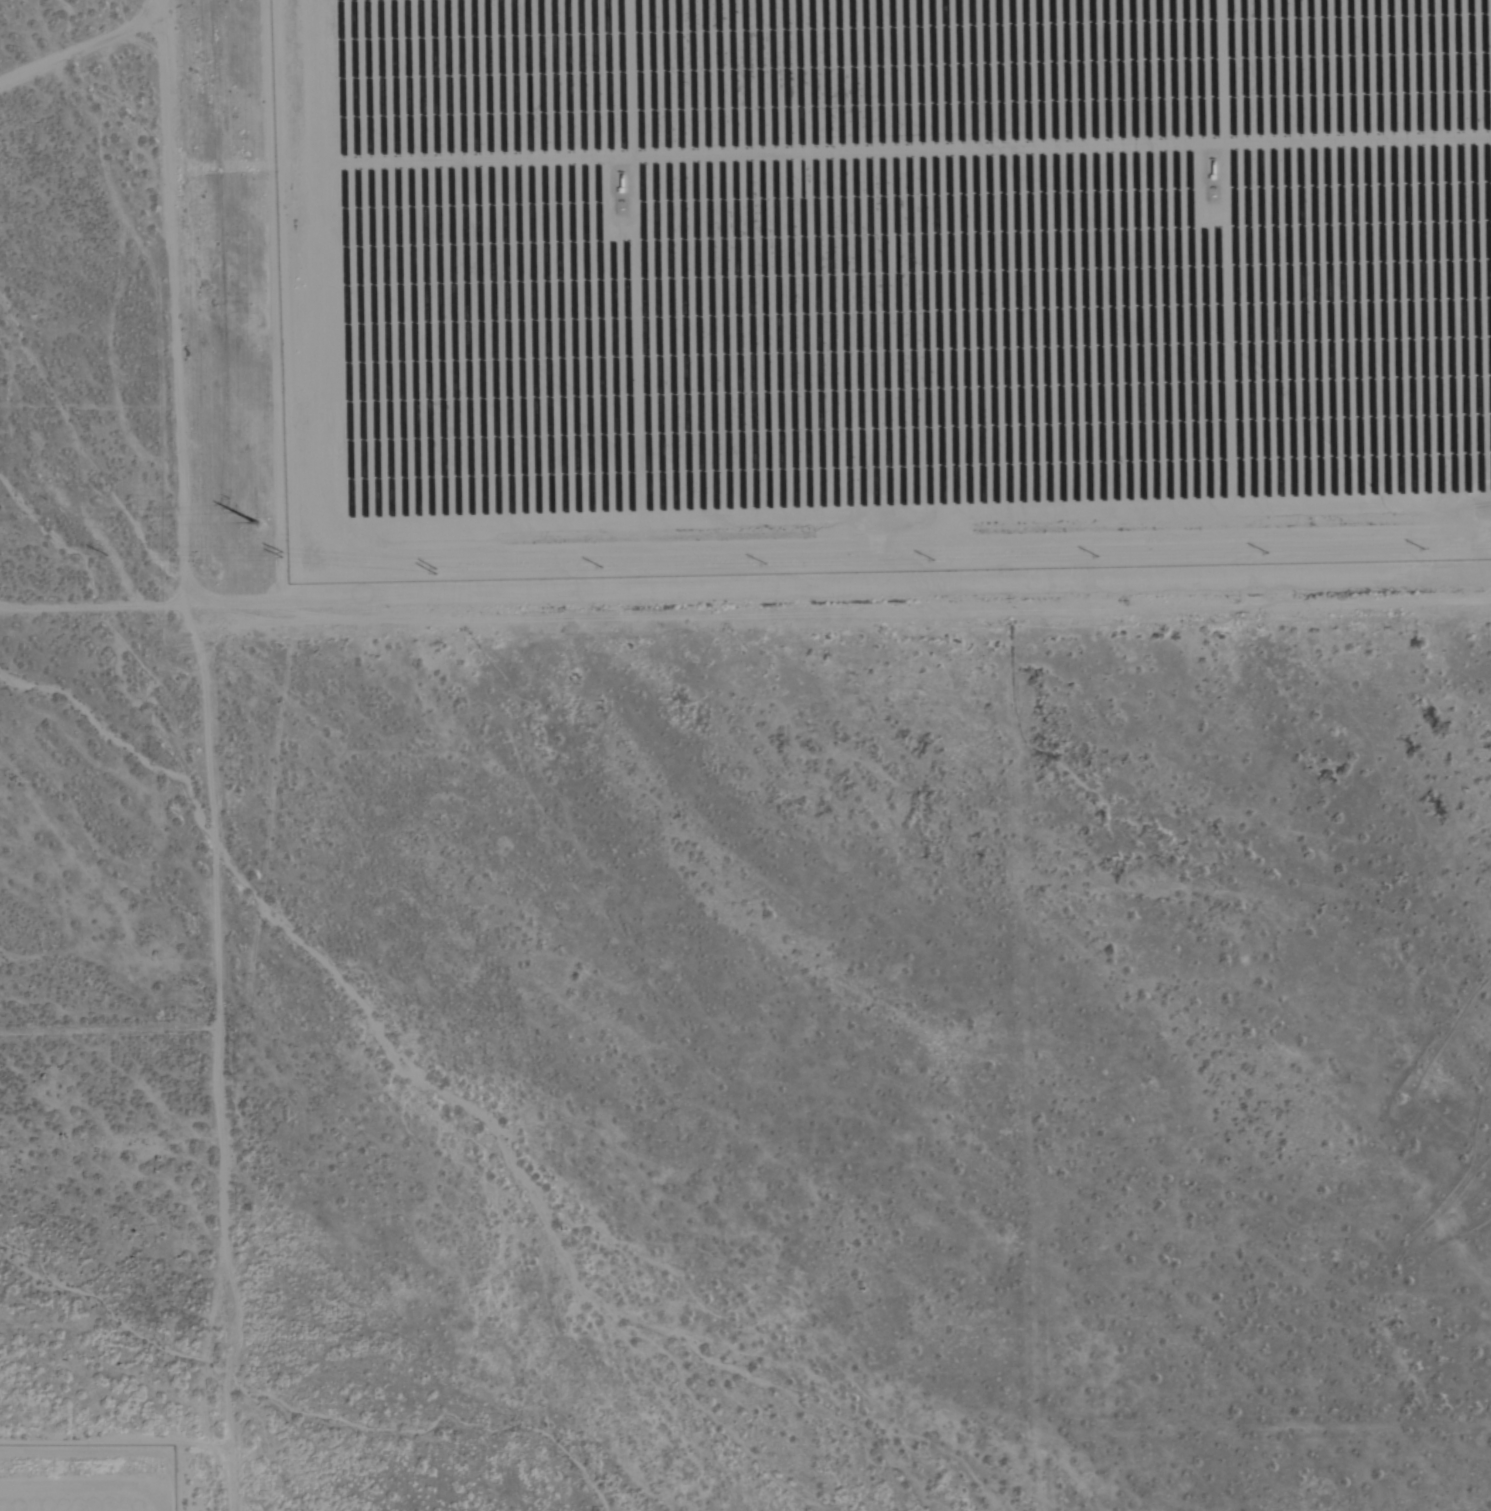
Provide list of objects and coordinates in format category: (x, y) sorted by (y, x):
road: (165, 14)
road: (83, 62)
road: (163, 147)
solar farm: (882, 287)
road: (177, 462)
road: (860, 611)
road: (1027, 1060)
road: (218, 1064)
road: (1267, 1444)
solar farm: (89, 1478)

